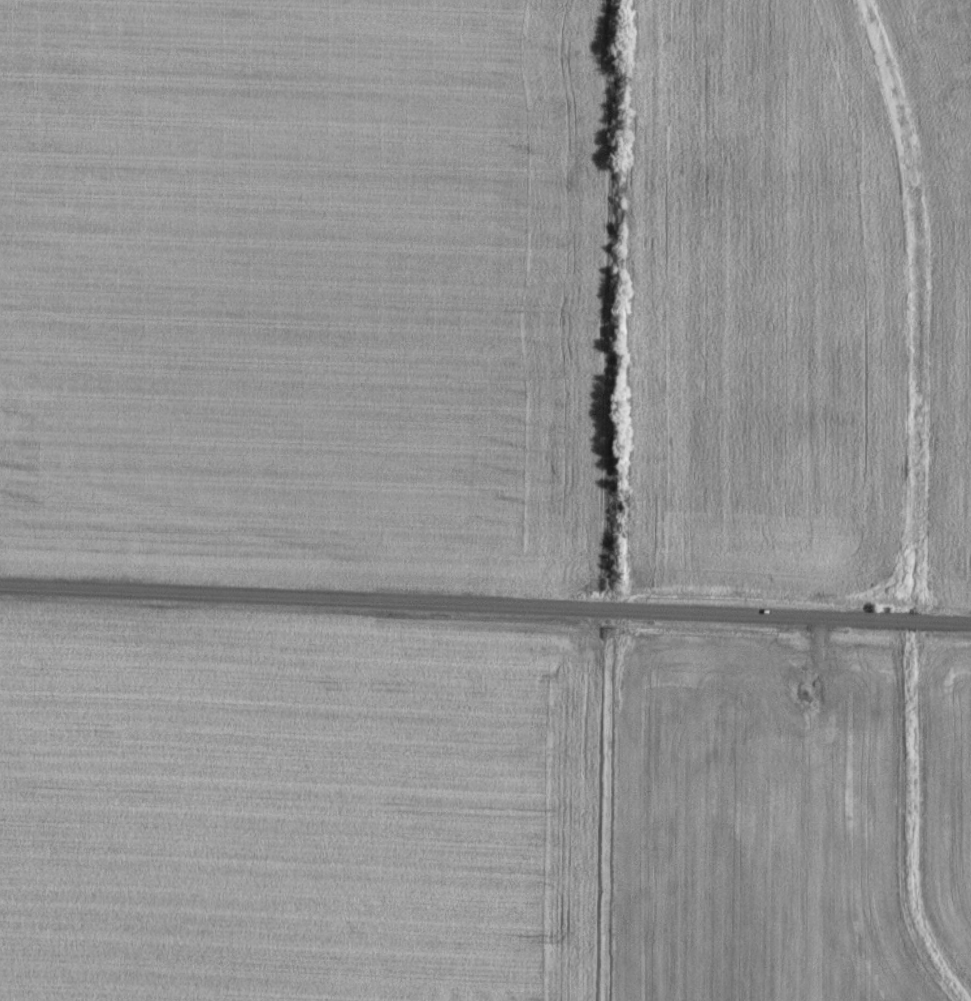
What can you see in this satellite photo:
crop: (941, 250)
crop: (298, 289)
road: (485, 605)

